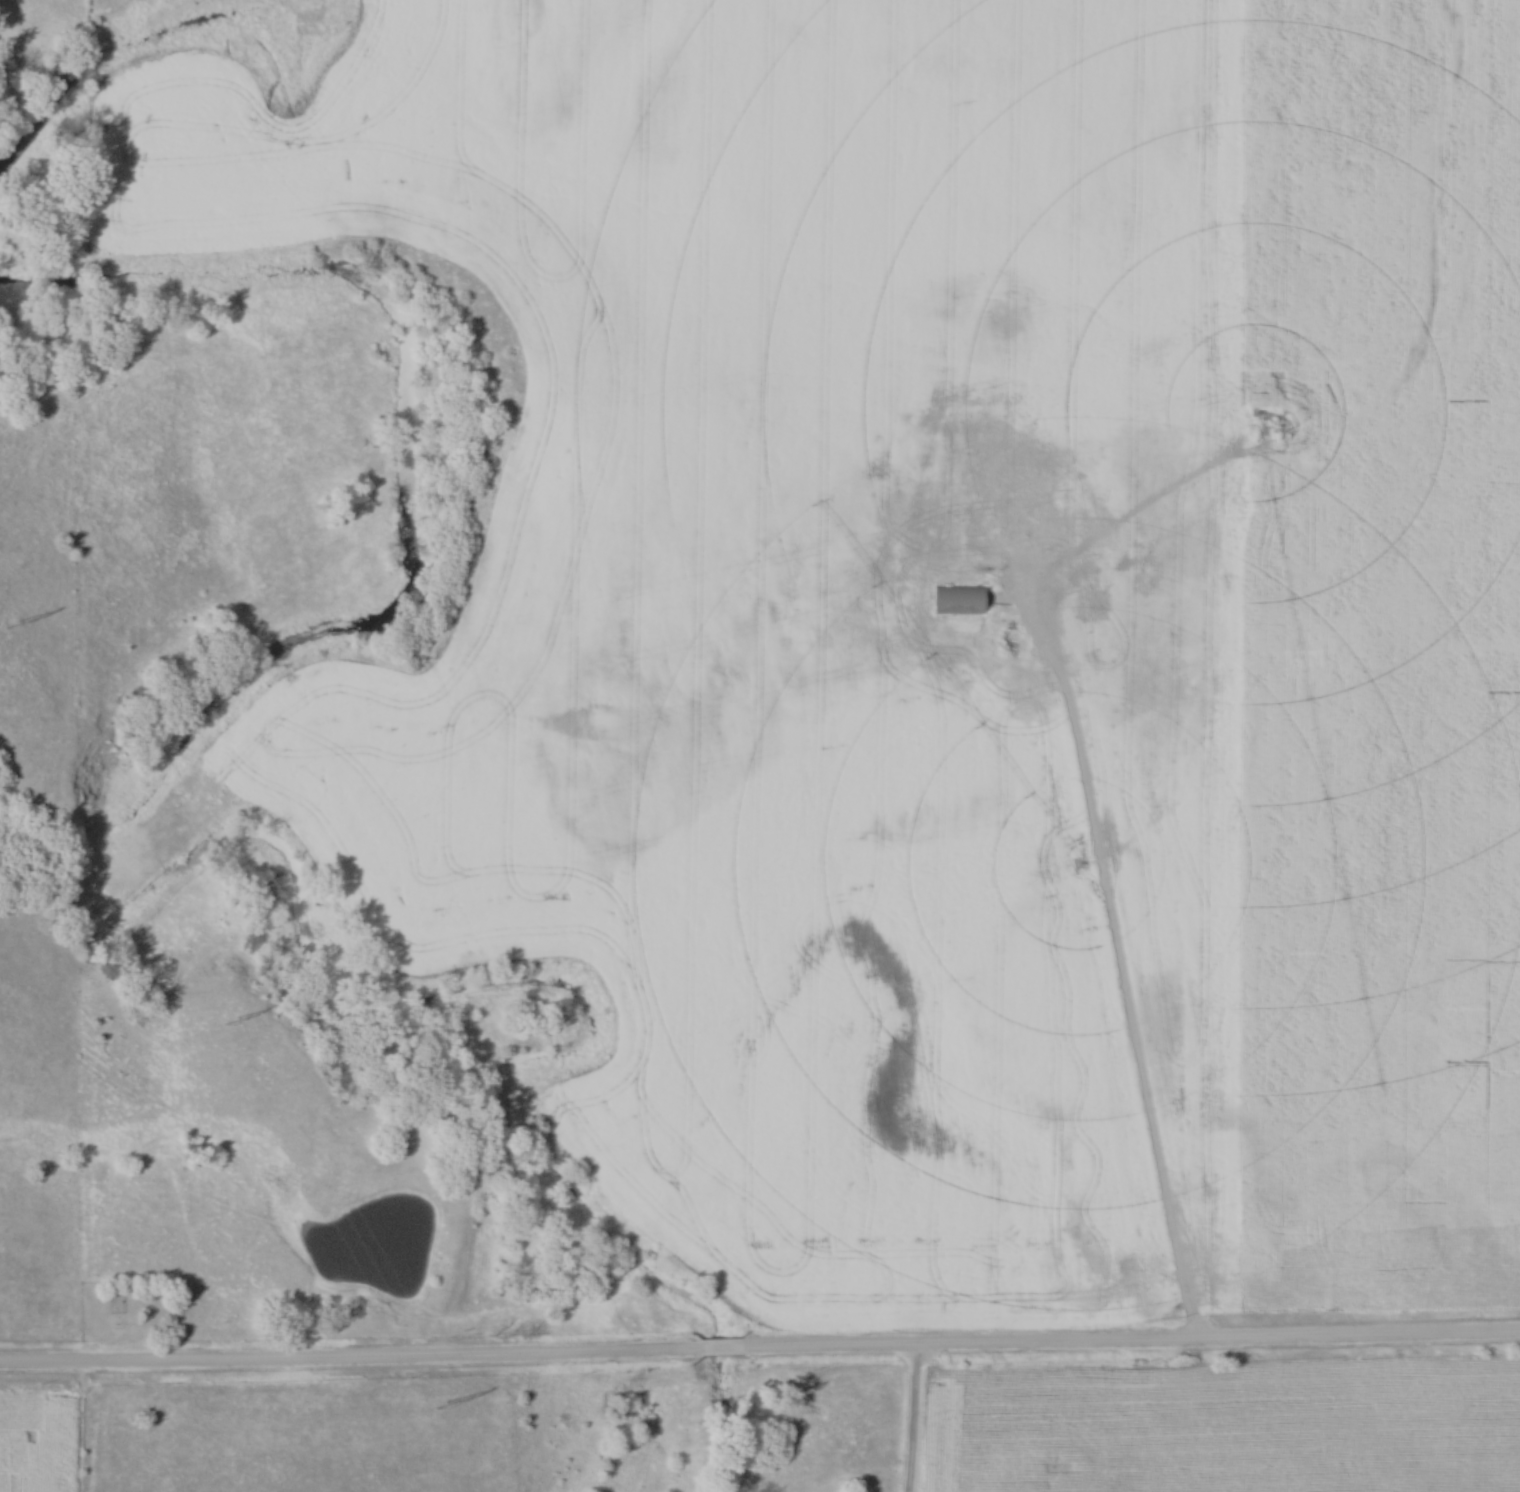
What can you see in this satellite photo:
river: (89, 55)
building: (927, 463)
building: (834, 503)
building: (1024, 505)
building: (638, 517)
building: (912, 531)
building: (1022, 547)
building: (1229, 585)
building: (953, 600)
building: (1089, 607)
building: (901, 615)
power tower: (8, 628)
river: (175, 863)
road: (1125, 996)
power tower: (222, 1021)
road: (1128, 1343)
road: (715, 1347)
road: (346, 1359)
power tower: (440, 1405)
road: (910, 1417)

